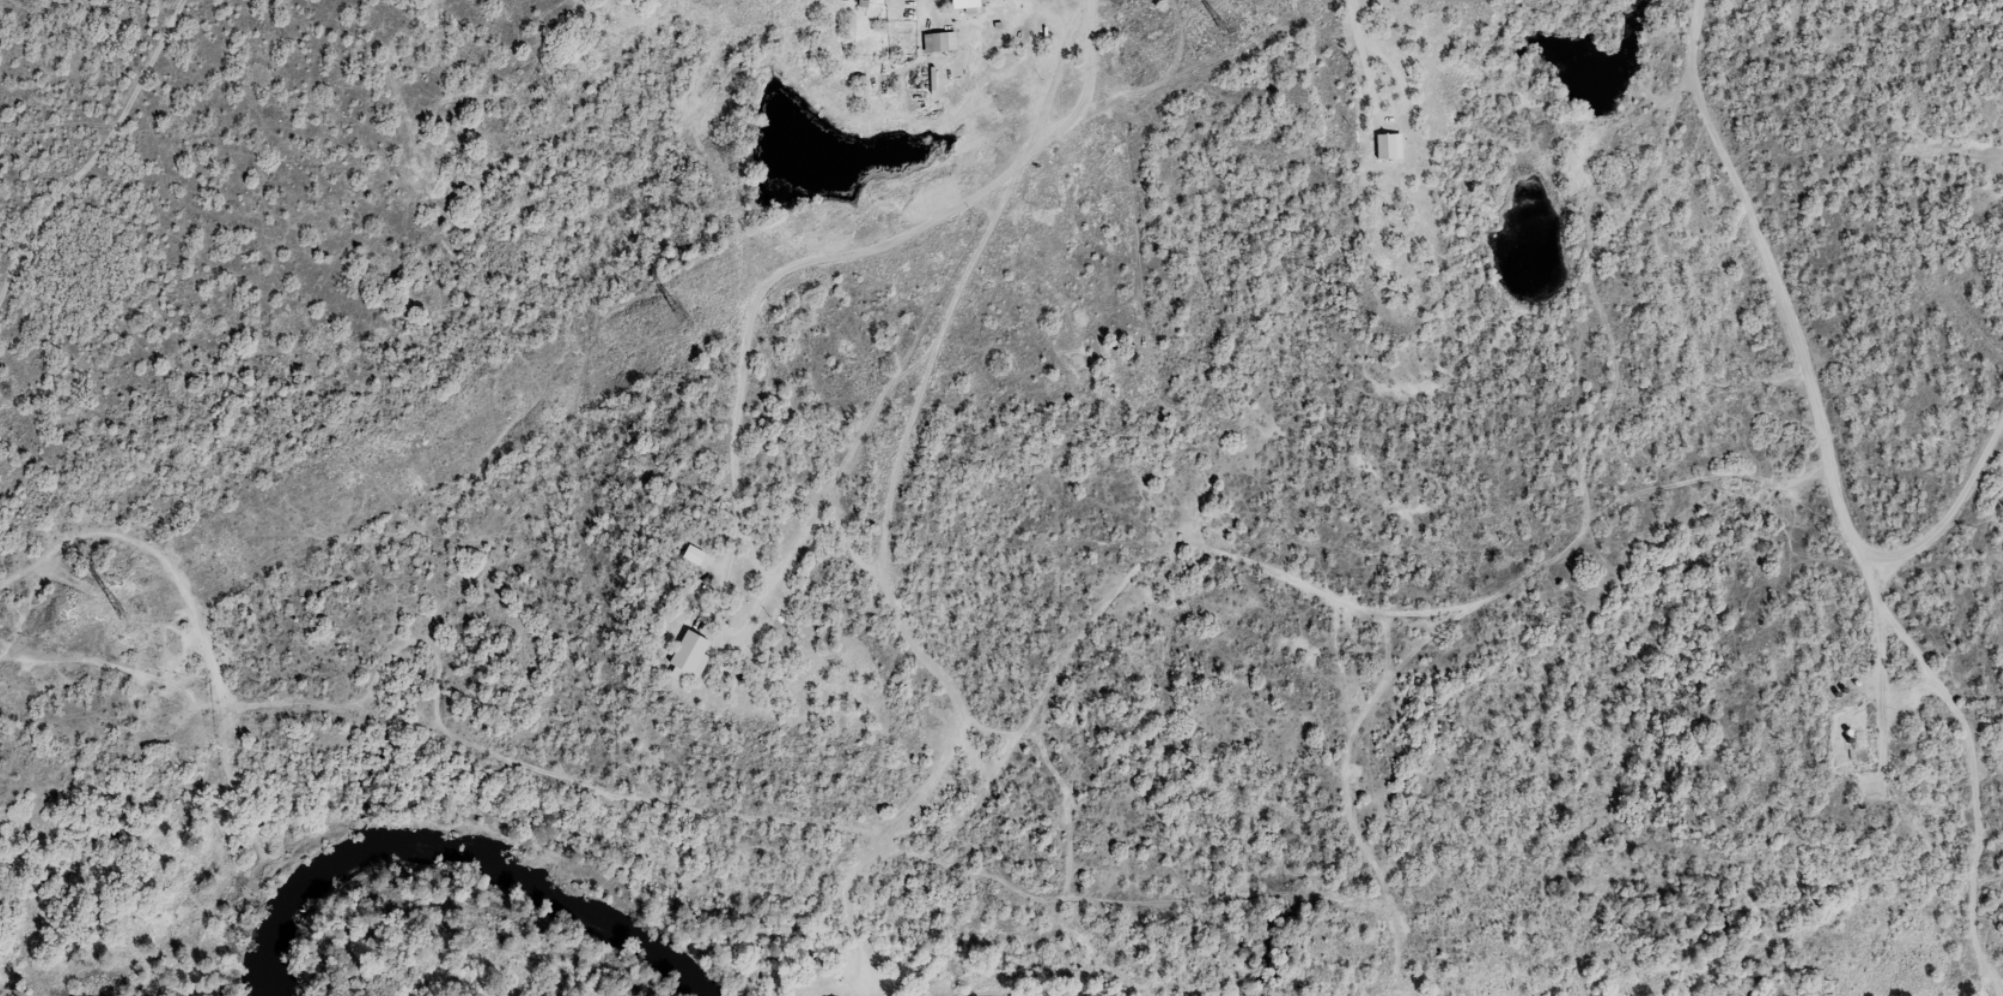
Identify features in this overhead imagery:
building: (962, 9)
power tower: (1224, 32)
building: (935, 50)
building: (1385, 154)
road: (1765, 255)
power tower: (681, 317)
building: (689, 563)
power tower: (123, 613)
building: (684, 664)
road: (978, 711)
road: (1954, 748)

